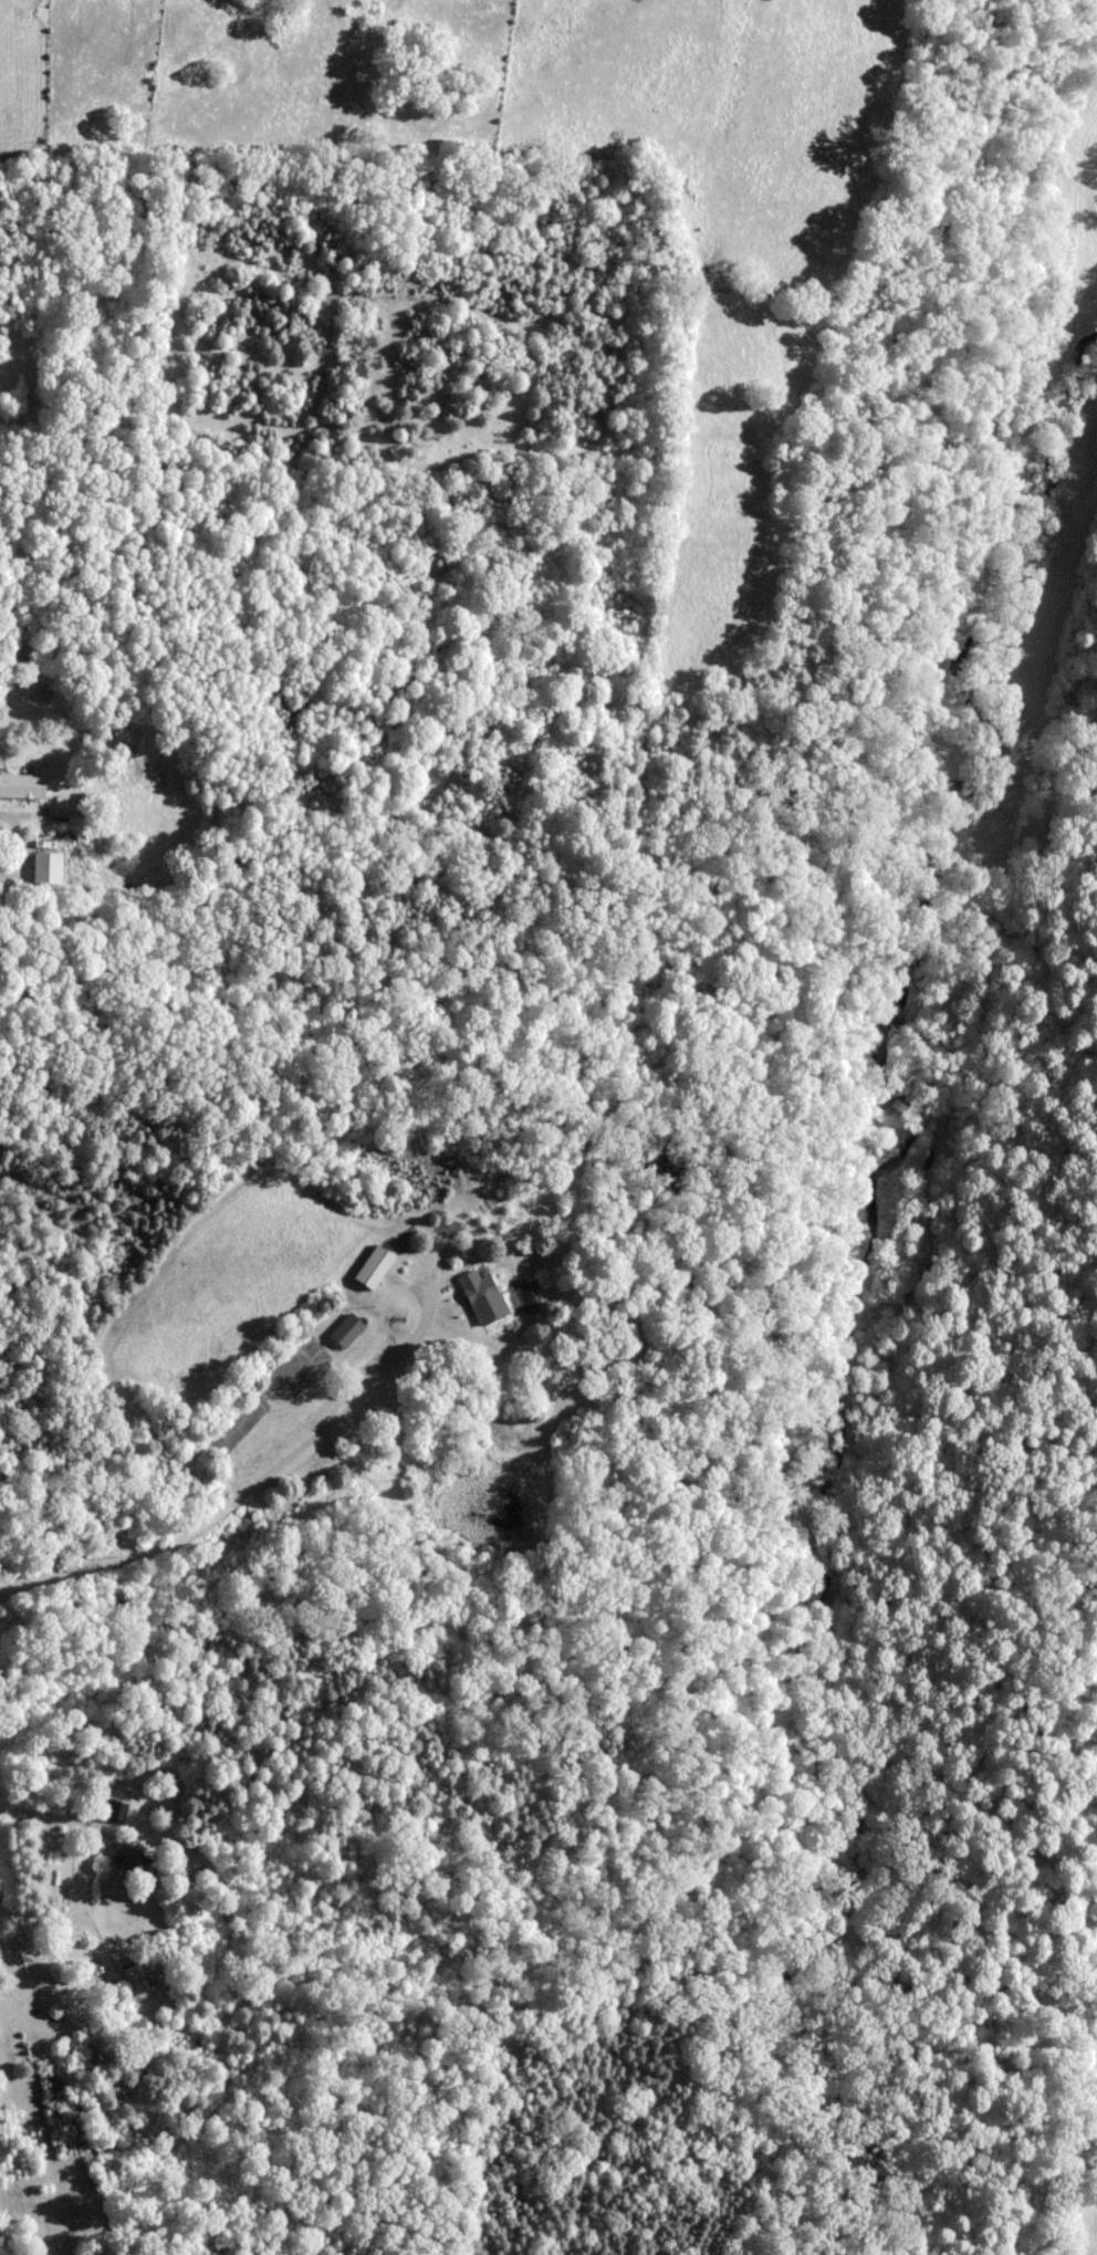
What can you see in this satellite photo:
road: (50, 400)
building: (21, 784)
building: (372, 1266)
building: (480, 1295)
building: (344, 1329)
road: (316, 1461)
building: (127, 1859)
building: (135, 1982)

